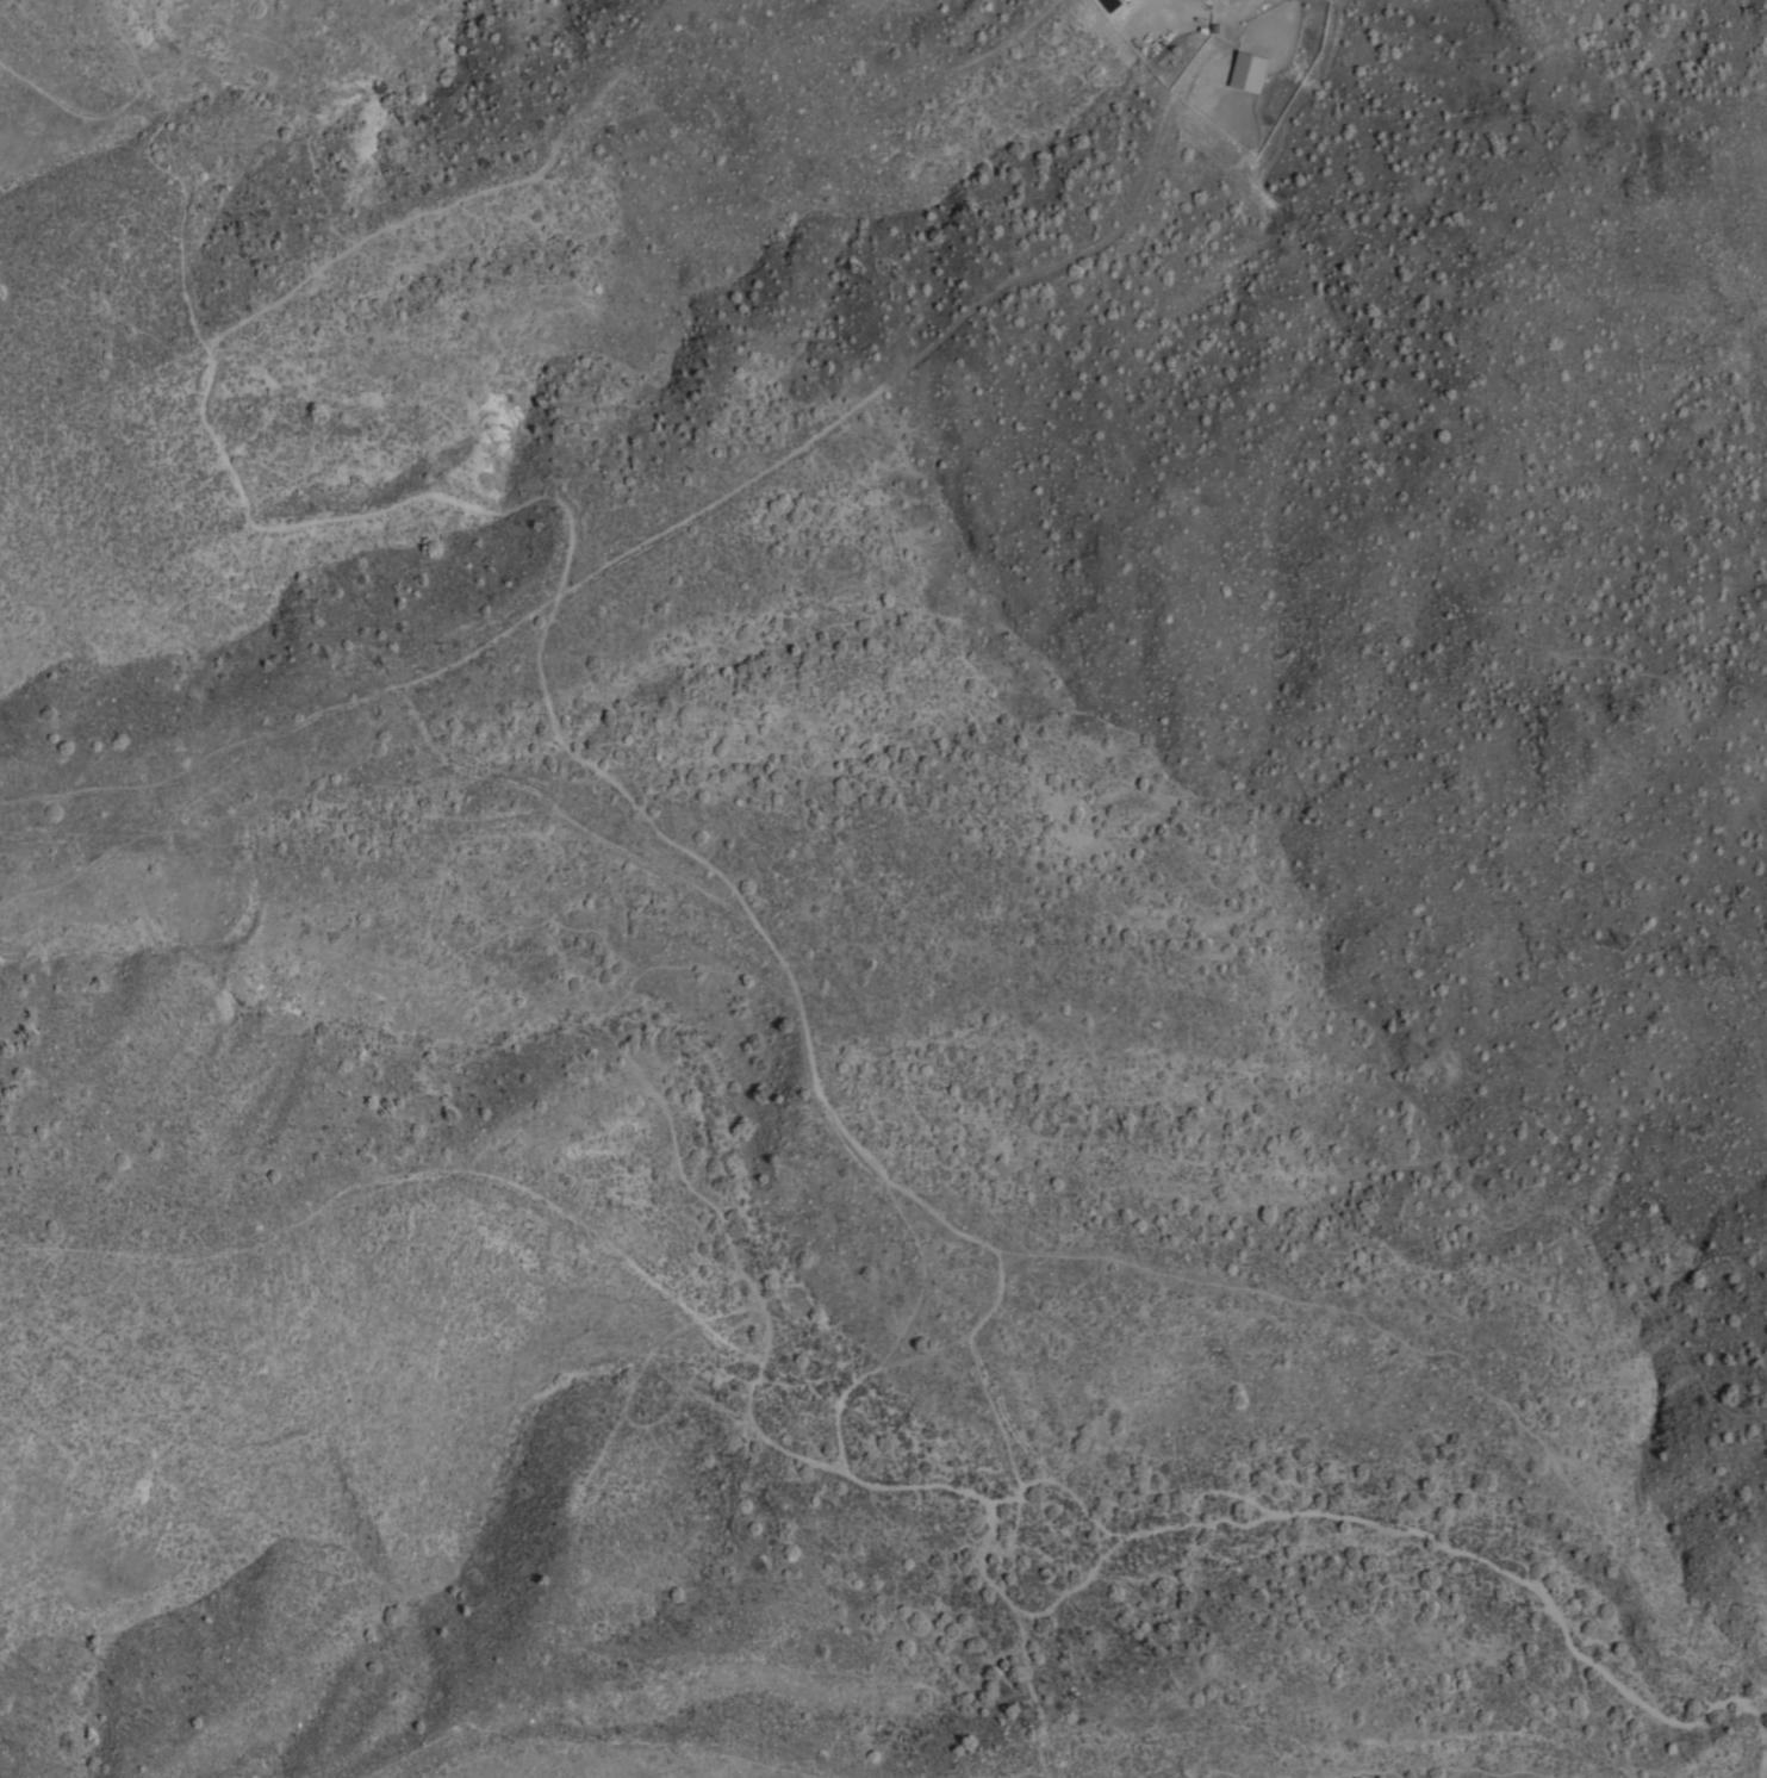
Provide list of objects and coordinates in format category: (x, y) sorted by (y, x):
building: (1245, 70)

